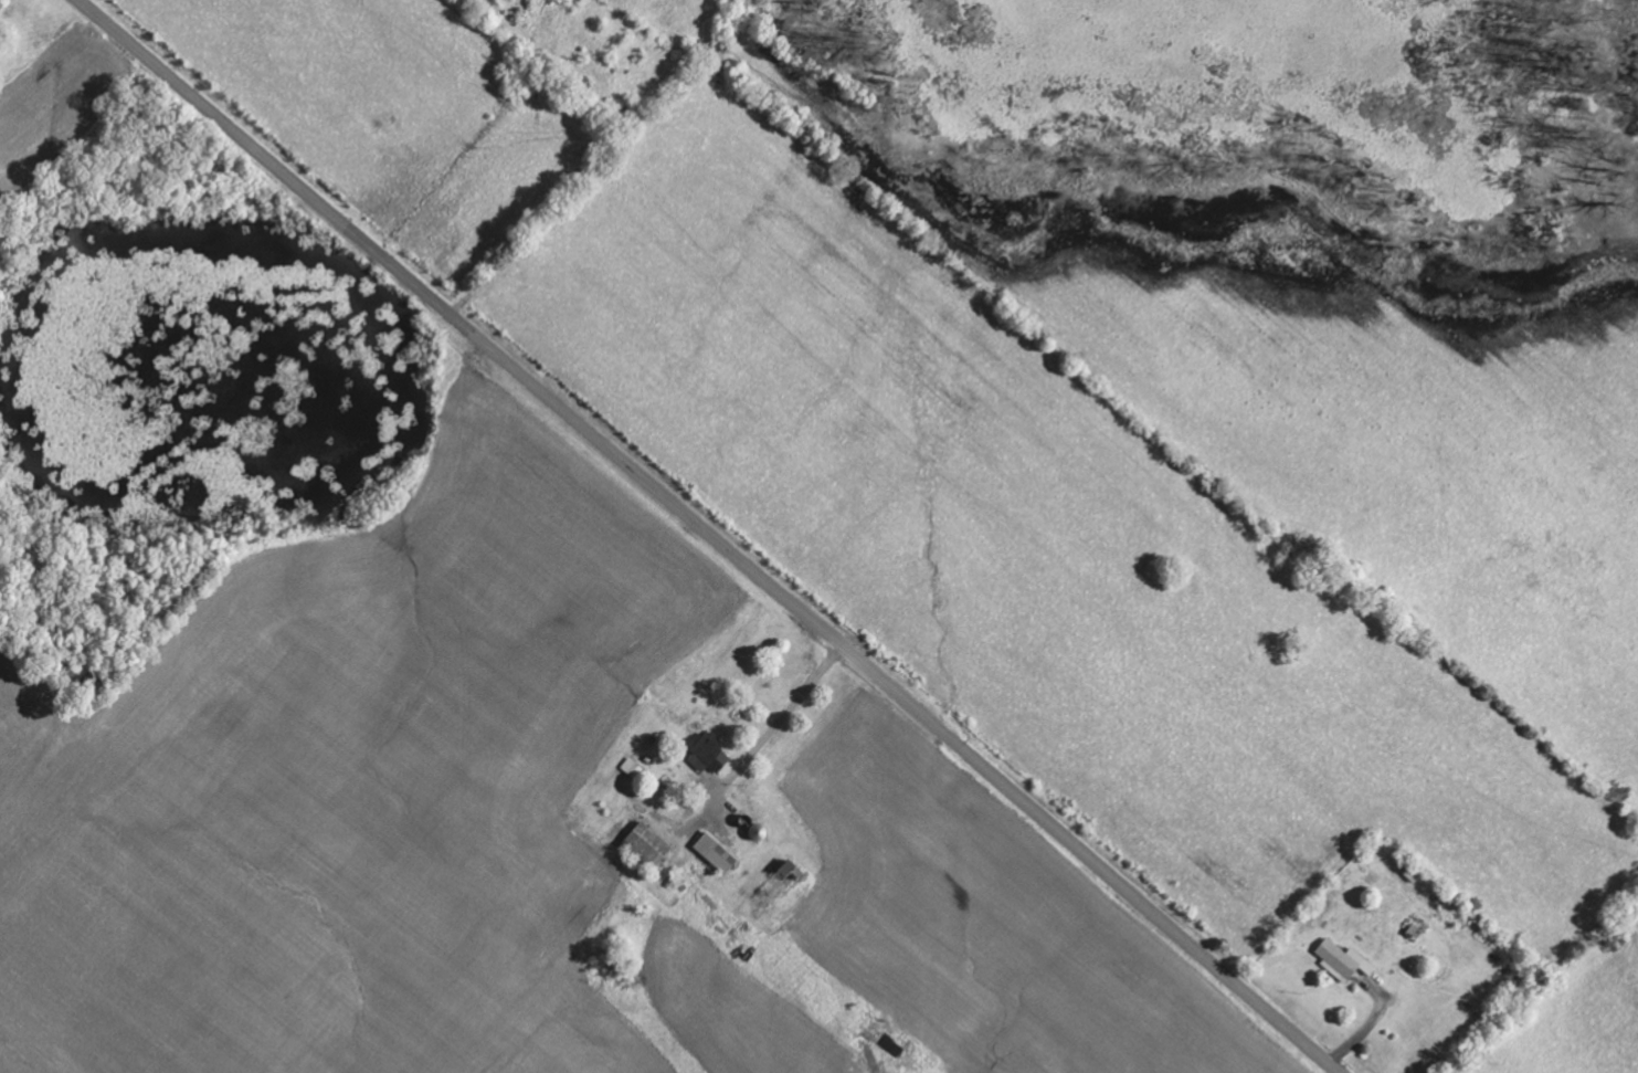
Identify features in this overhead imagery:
building: (2, 7)
road: (708, 535)
building: (711, 756)
building: (652, 848)
building: (720, 854)
building: (785, 886)
building: (1417, 935)
building: (1348, 965)
building: (881, 1037)

